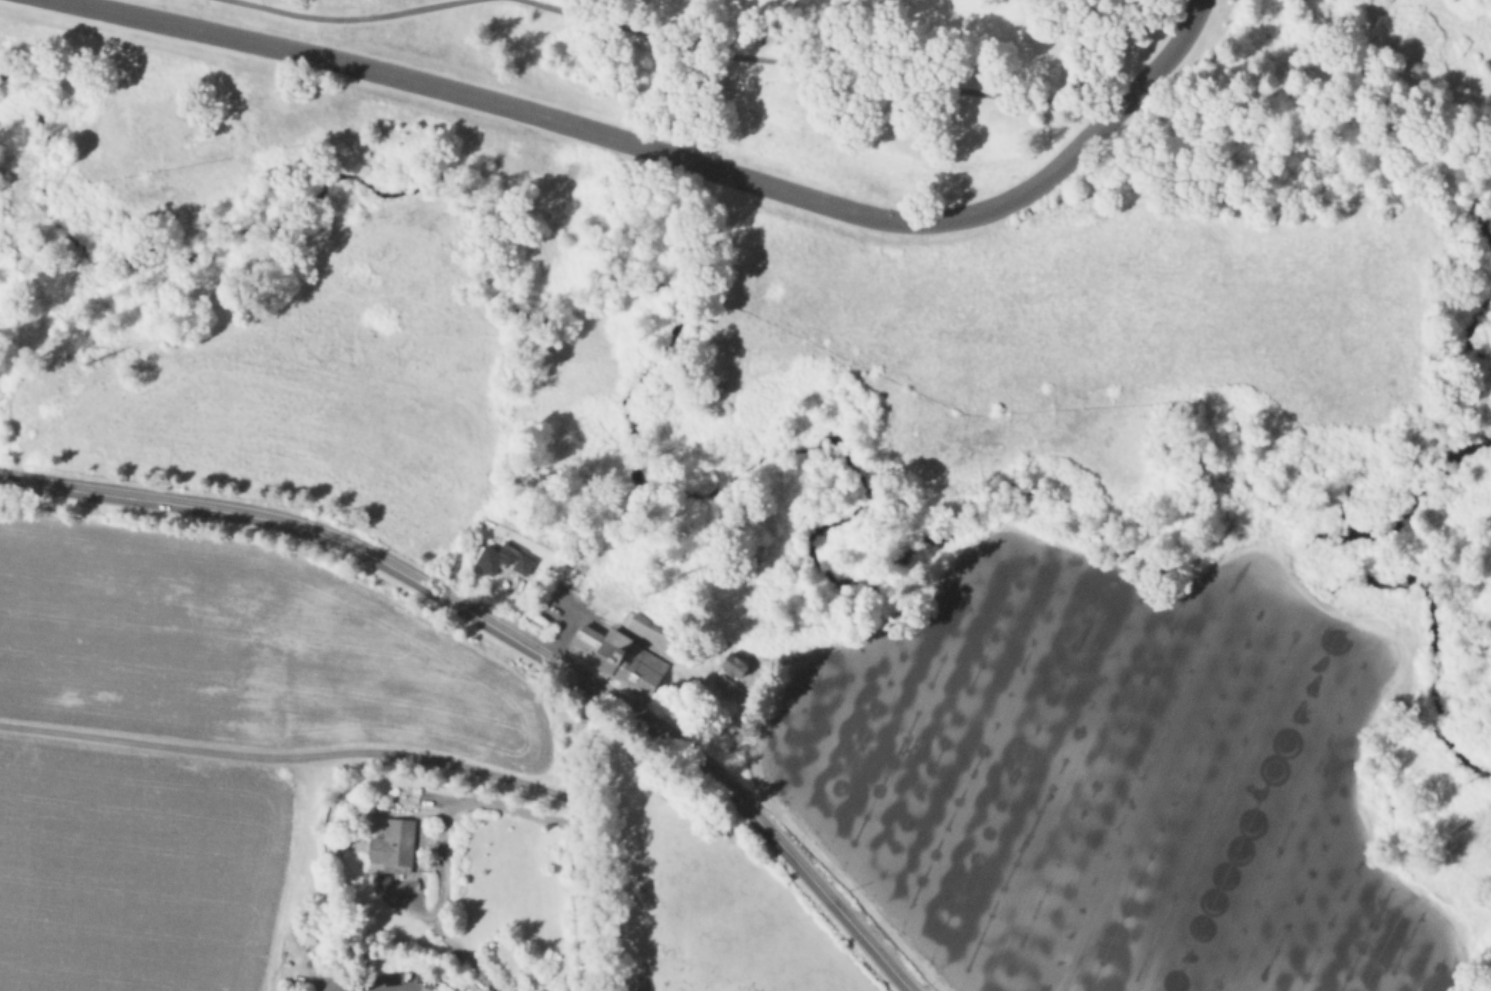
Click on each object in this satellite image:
road: (349, 17)
road: (848, 76)
park: (869, 78)
road: (671, 154)
building: (502, 560)
building: (647, 631)
road: (508, 636)
building: (618, 657)
building: (732, 667)
road: (292, 753)
crop: (1098, 788)
crop: (333, 798)
road: (584, 840)
road: (450, 846)
building: (391, 847)

